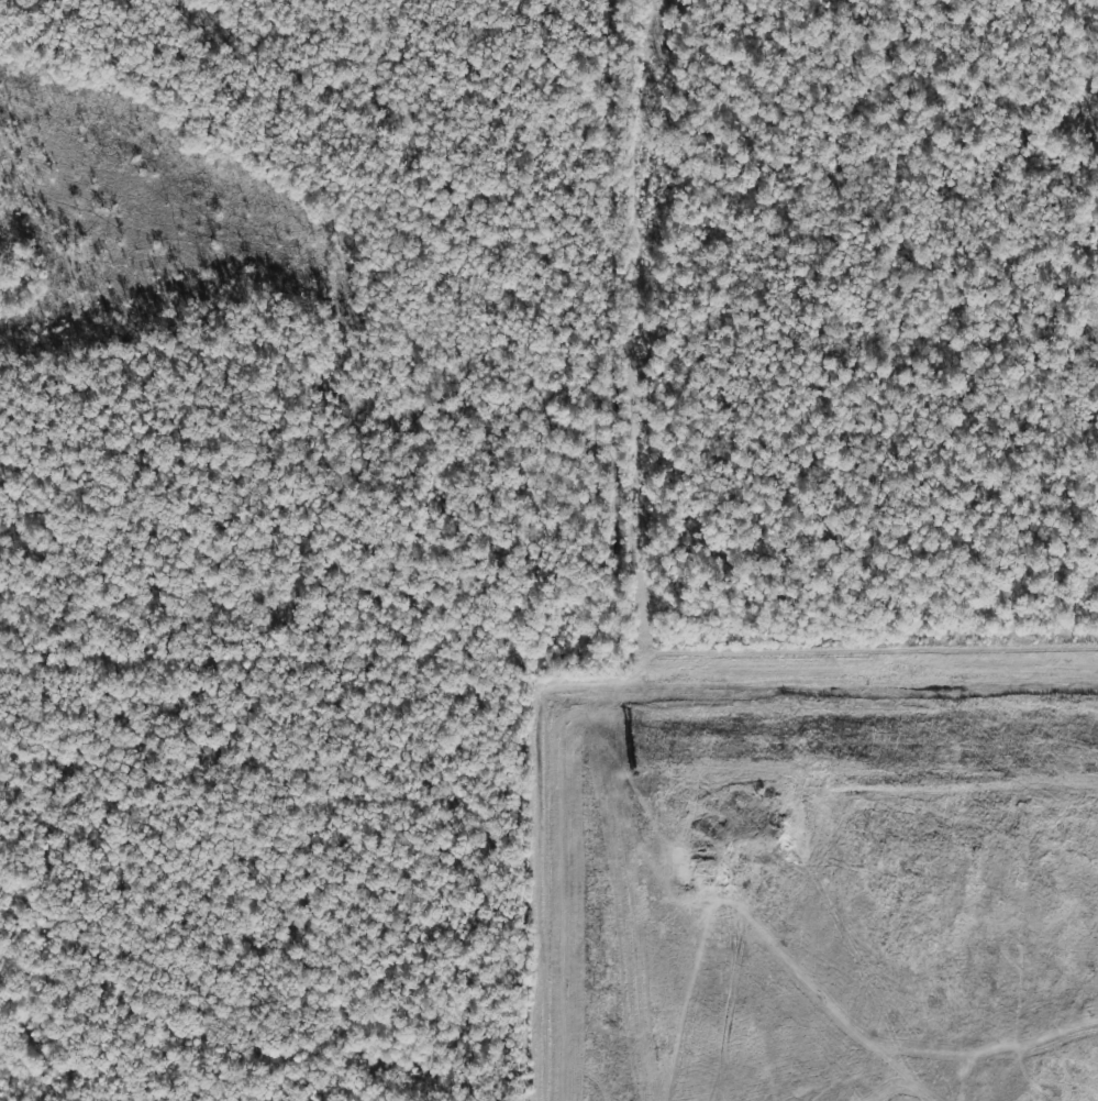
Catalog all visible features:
landfill: (814, 889)

